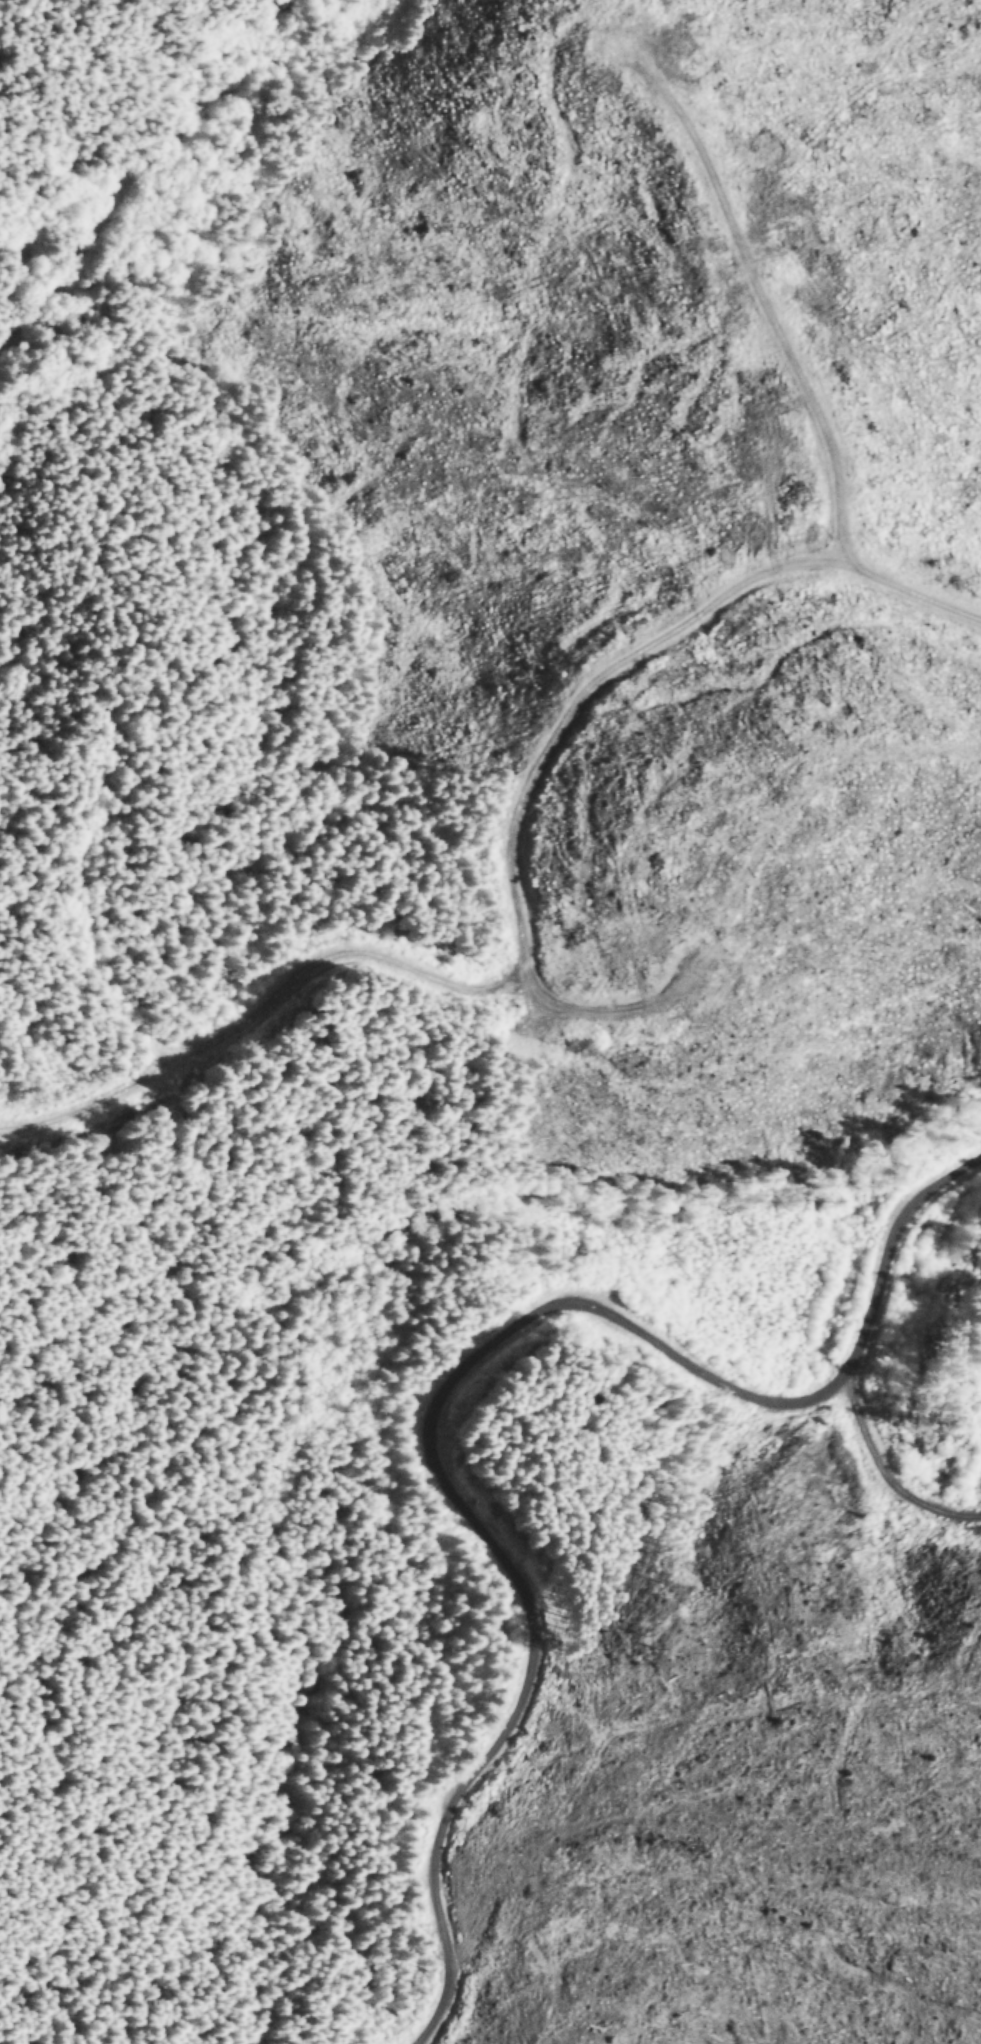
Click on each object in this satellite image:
road: (184, 52)
road: (178, 146)
road: (794, 348)
road: (518, 968)
road: (605, 1009)
road: (453, 1379)
road: (885, 1468)

